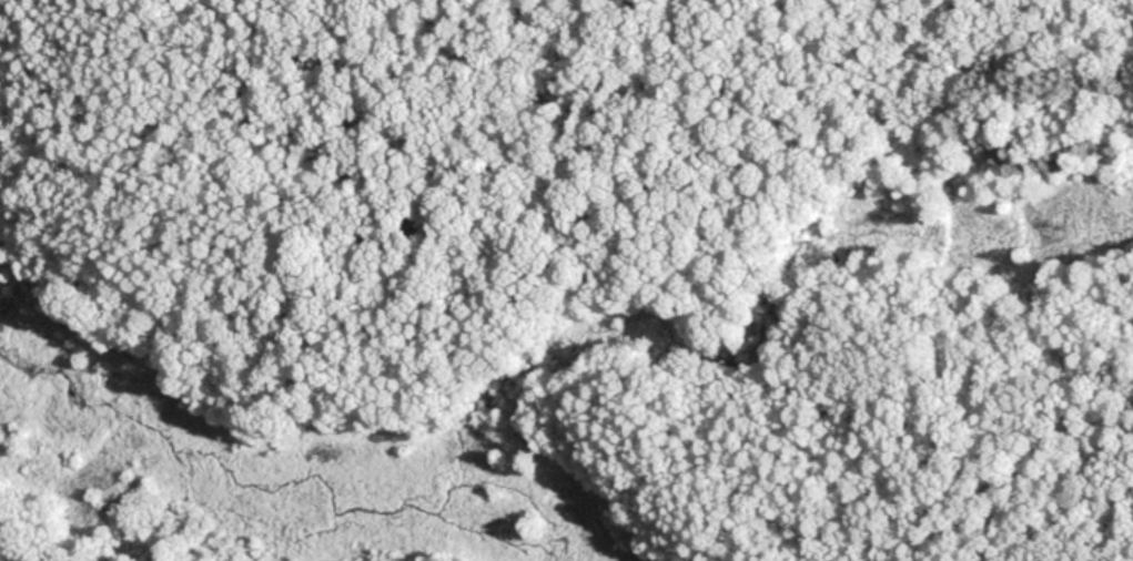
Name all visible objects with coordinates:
park: (566, 280)

